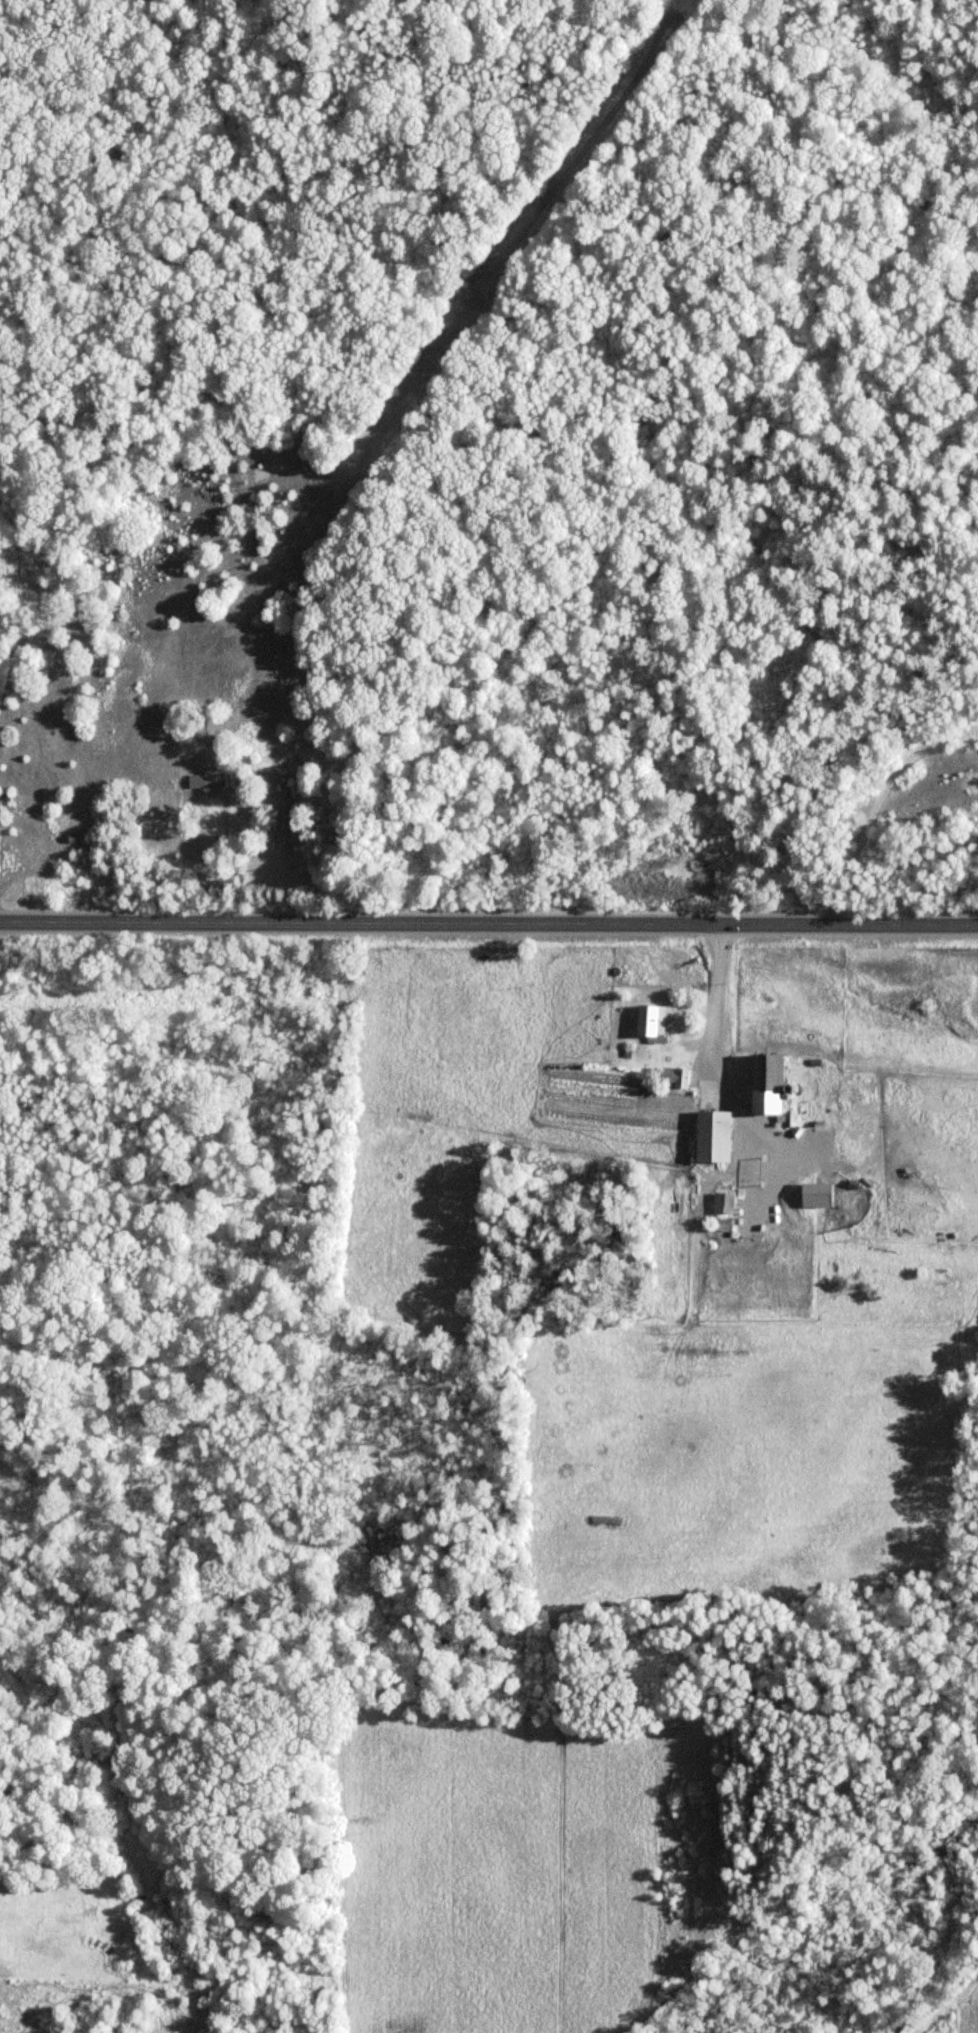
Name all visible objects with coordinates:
building: (205, 781)
building: (283, 817)
road: (489, 922)
building: (651, 1024)
building: (672, 1078)
road: (718, 1079)
building: (764, 1084)
building: (814, 1195)
building: (721, 1203)
building: (720, 1226)

